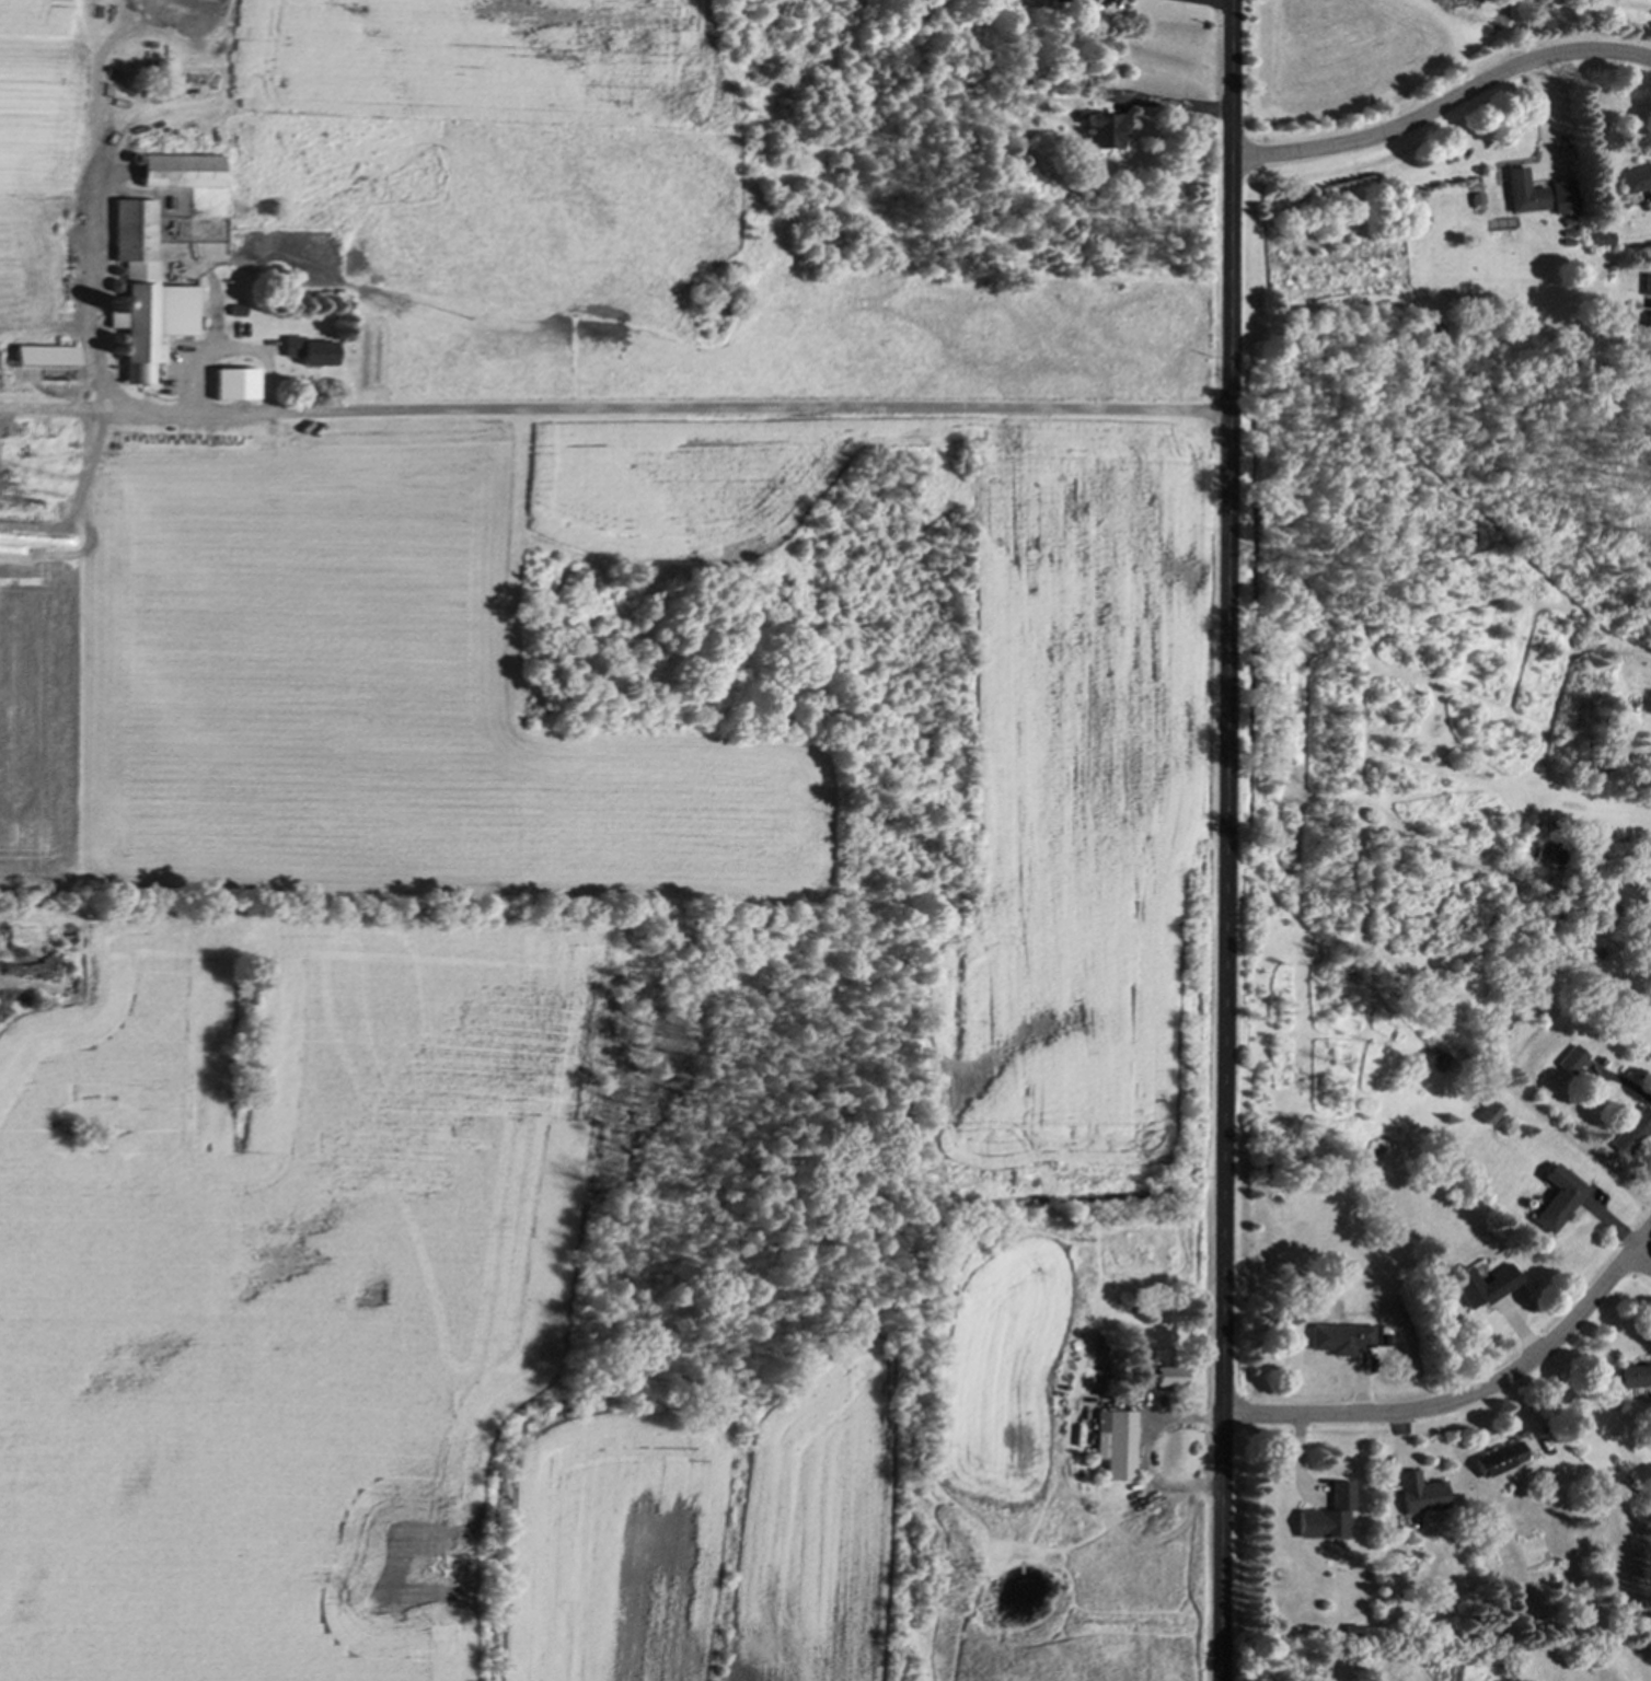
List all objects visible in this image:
road: (1222, 1)
road: (1441, 103)
building: (1100, 135)
building: (176, 175)
building: (1635, 185)
building: (1516, 196)
building: (1643, 289)
building: (143, 298)
building: (303, 353)
building: (232, 386)
road: (671, 409)
road: (1225, 839)
building: (1620, 902)
building: (1570, 1064)
building: (1488, 1116)
building: (1630, 1134)
building: (1554, 1202)
road: (1641, 1260)
building: (1478, 1288)
building: (1337, 1341)
building: (1632, 1378)
building: (1158, 1380)
road: (1469, 1396)
building: (1115, 1449)
road: (1144, 1457)
building: (1496, 1461)
building: (1416, 1496)
building: (1325, 1519)

